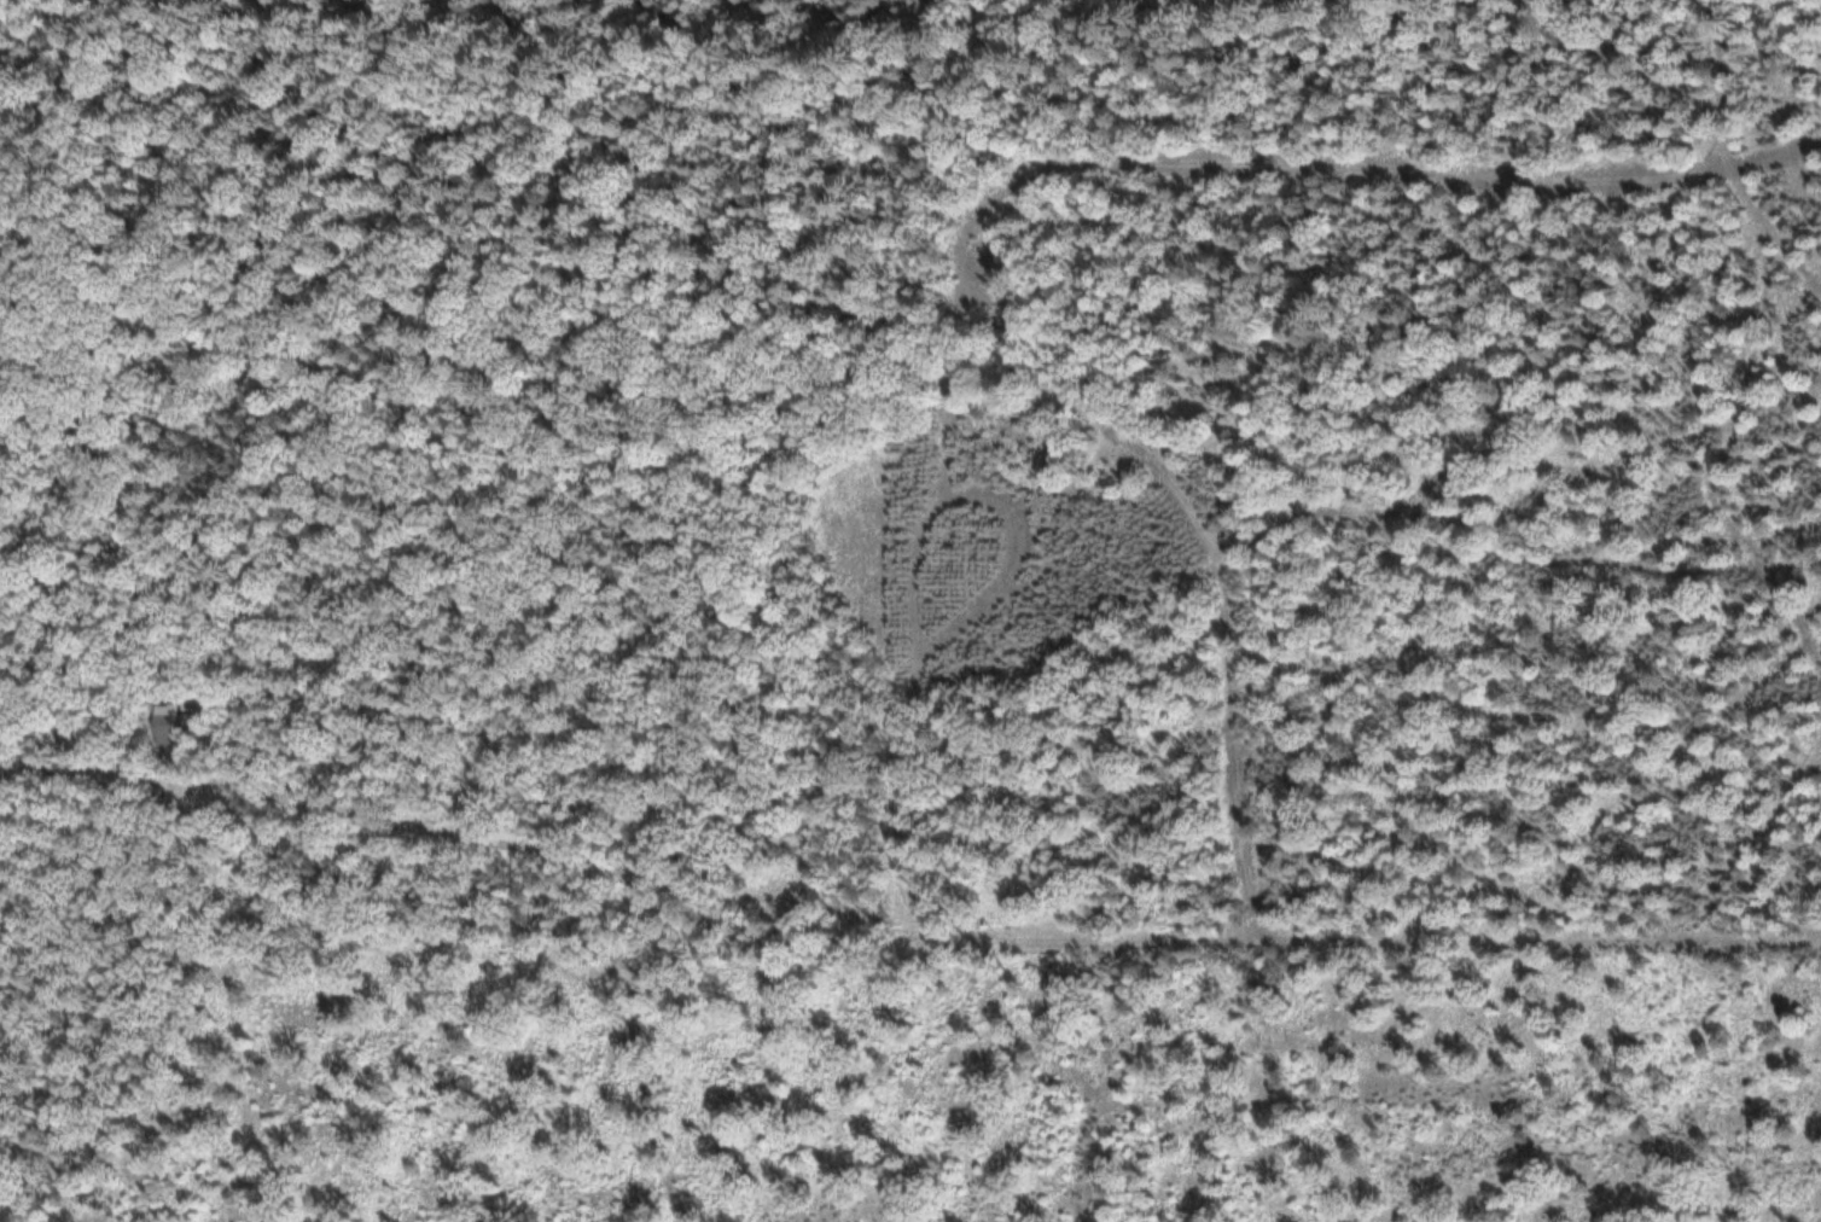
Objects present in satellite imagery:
road: (1722, 83)
building: (173, 723)
building: (152, 798)
road: (994, 941)

